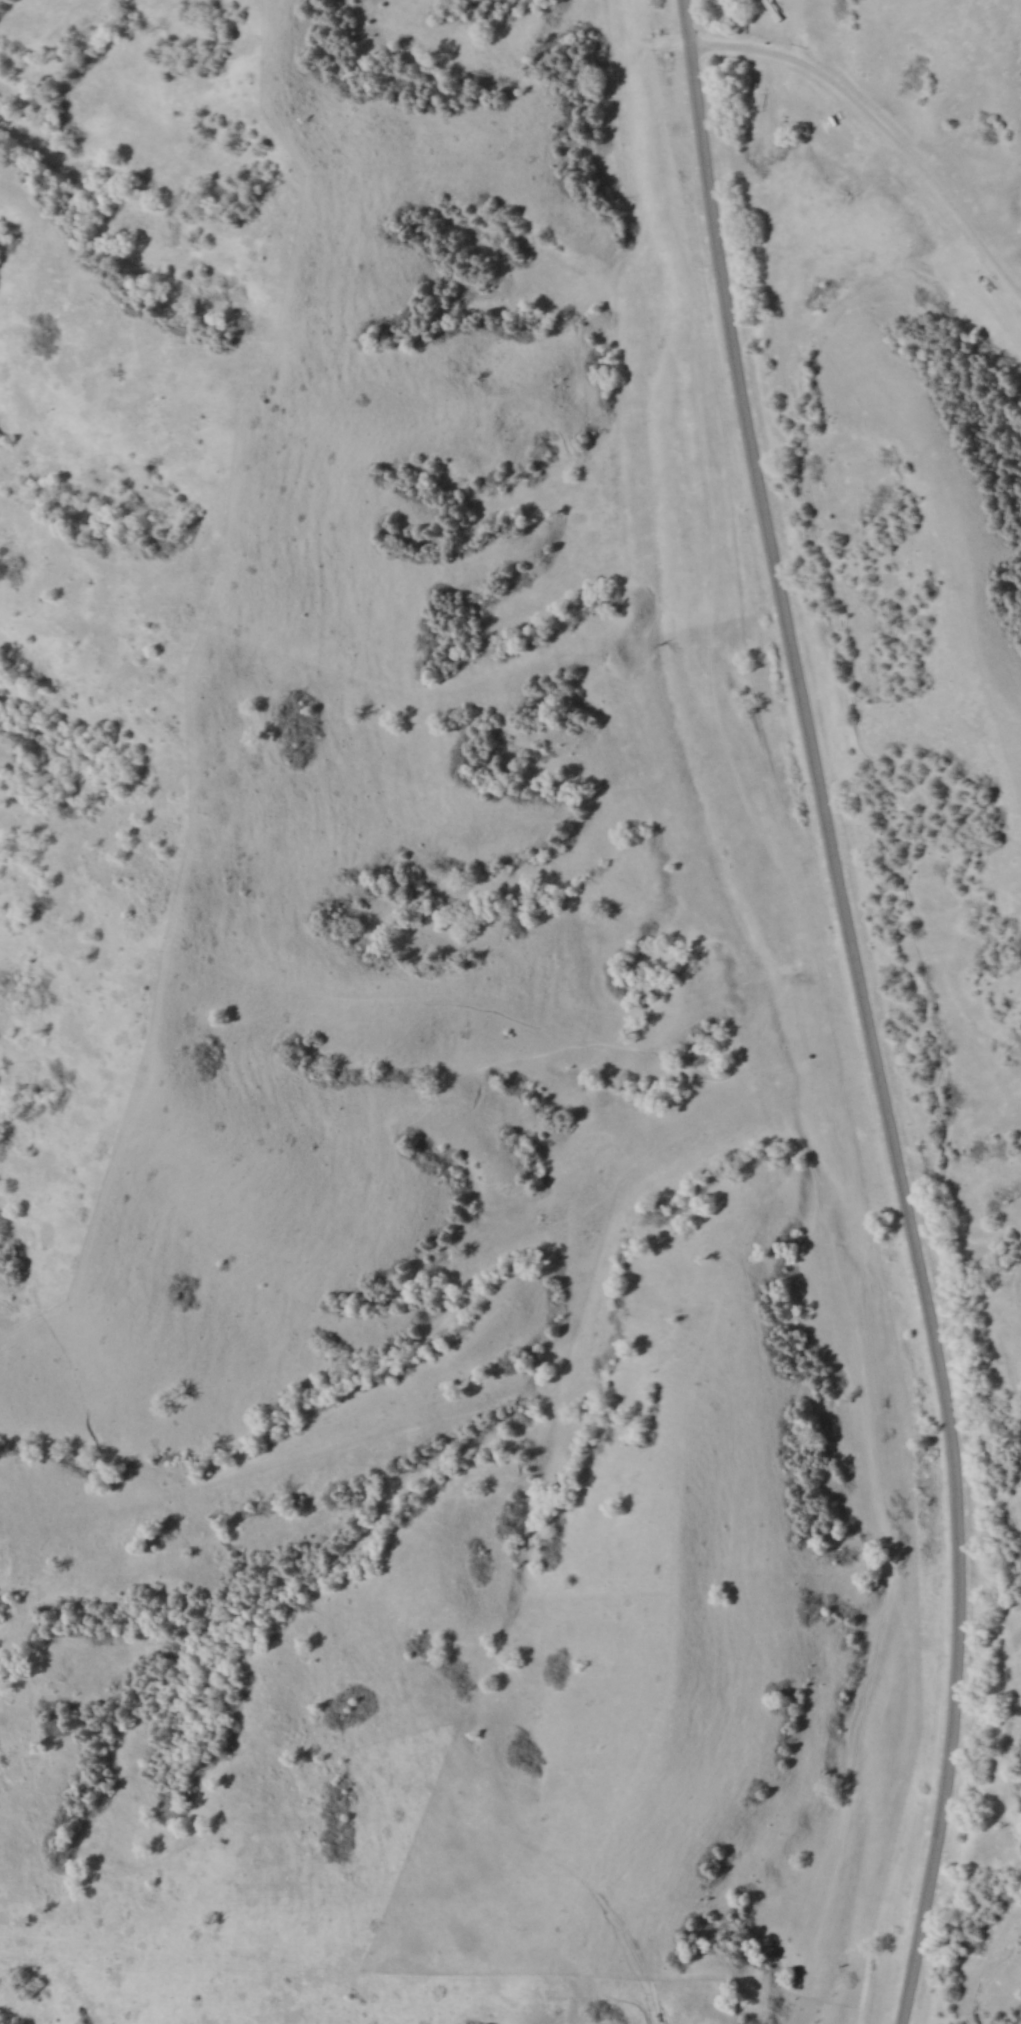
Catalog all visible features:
road: (865, 1010)

